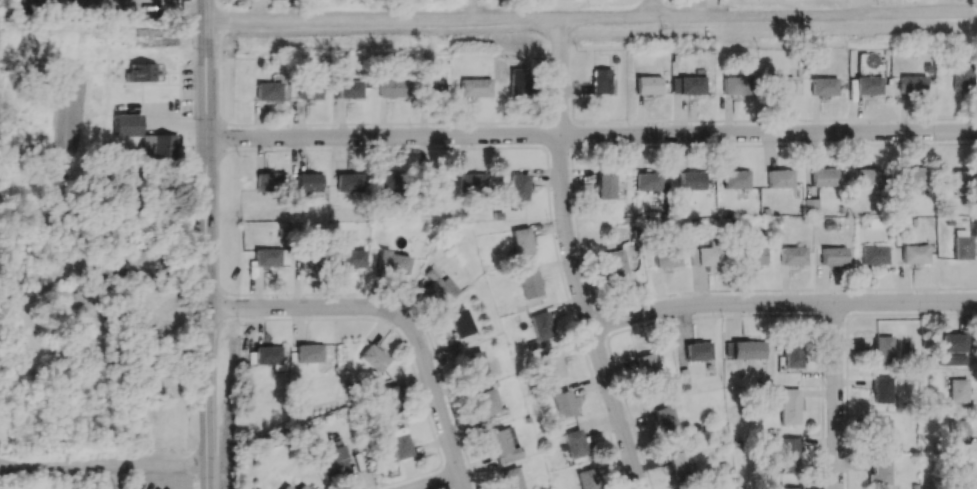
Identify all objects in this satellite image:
road: (652, 9)
road: (207, 10)
road: (592, 20)
building: (146, 72)
building: (960, 77)
building: (601, 80)
building: (516, 82)
building: (648, 84)
building: (911, 84)
building: (688, 85)
building: (735, 85)
building: (781, 85)
building: (868, 85)
building: (431, 86)
building: (824, 86)
building: (389, 87)
building: (474, 87)
building: (308, 88)
building: (348, 88)
building: (267, 91)
building: (128, 125)
road: (593, 136)
building: (827, 177)
building: (868, 177)
building: (912, 177)
building: (780, 178)
building: (736, 179)
building: (692, 180)
building: (268, 181)
building: (473, 181)
building: (649, 181)
building: (309, 182)
building: (351, 182)
building: (960, 182)
building: (388, 183)
building: (438, 183)
building: (518, 186)
building: (607, 187)
building: (521, 240)
building: (960, 244)
building: (915, 253)
road: (209, 254)
building: (667, 255)
building: (755, 255)
building: (793, 255)
building: (874, 255)
building: (833, 256)
building: (270, 257)
building: (706, 257)
building: (352, 259)
road: (574, 259)
building: (392, 261)
building: (616, 262)
building: (530, 284)
building: (439, 285)
road: (783, 305)
road: (397, 318)
building: (460, 322)
building: (540, 328)
building: (953, 342)
building: (749, 349)
building: (883, 349)
building: (698, 351)
building: (310, 352)
building: (793, 353)
building: (268, 355)
building: (373, 357)
building: (952, 359)
building: (474, 362)
building: (553, 364)
building: (646, 365)
building: (882, 389)
building: (956, 390)
road: (838, 396)
building: (388, 400)
building: (486, 401)
building: (566, 404)
building: (790, 406)
building: (667, 419)
building: (881, 430)
building: (957, 431)
building: (575, 442)
building: (398, 443)
building: (503, 443)
building: (789, 454)
building: (331, 461)
building: (682, 465)
road: (46, 467)
road: (140, 468)
building: (959, 471)
building: (881, 473)
building: (512, 477)
building: (588, 478)
road: (438, 482)
building: (286, 487)
building: (301, 487)
building: (789, 487)

